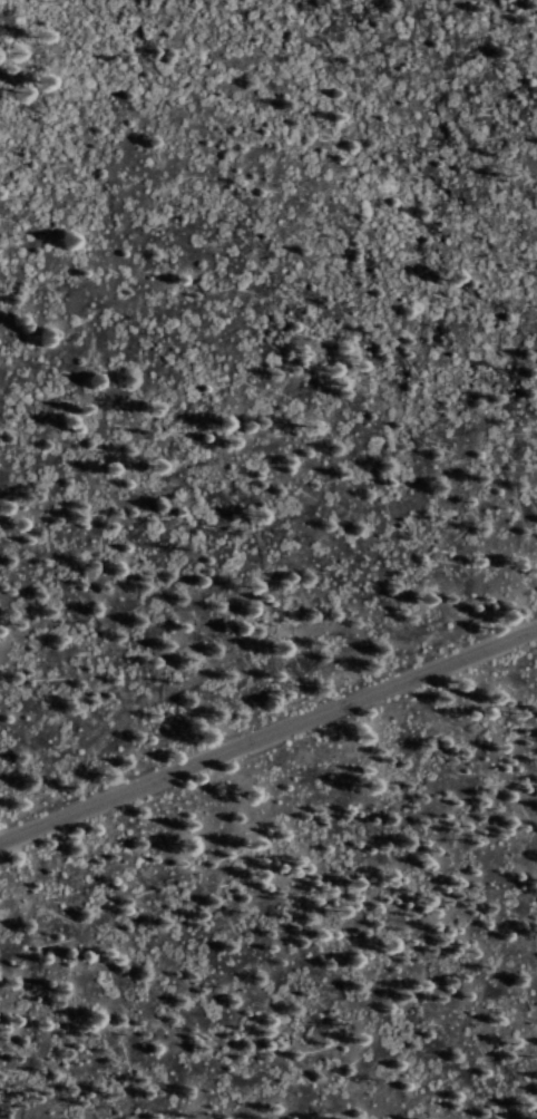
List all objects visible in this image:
road: (268, 745)

